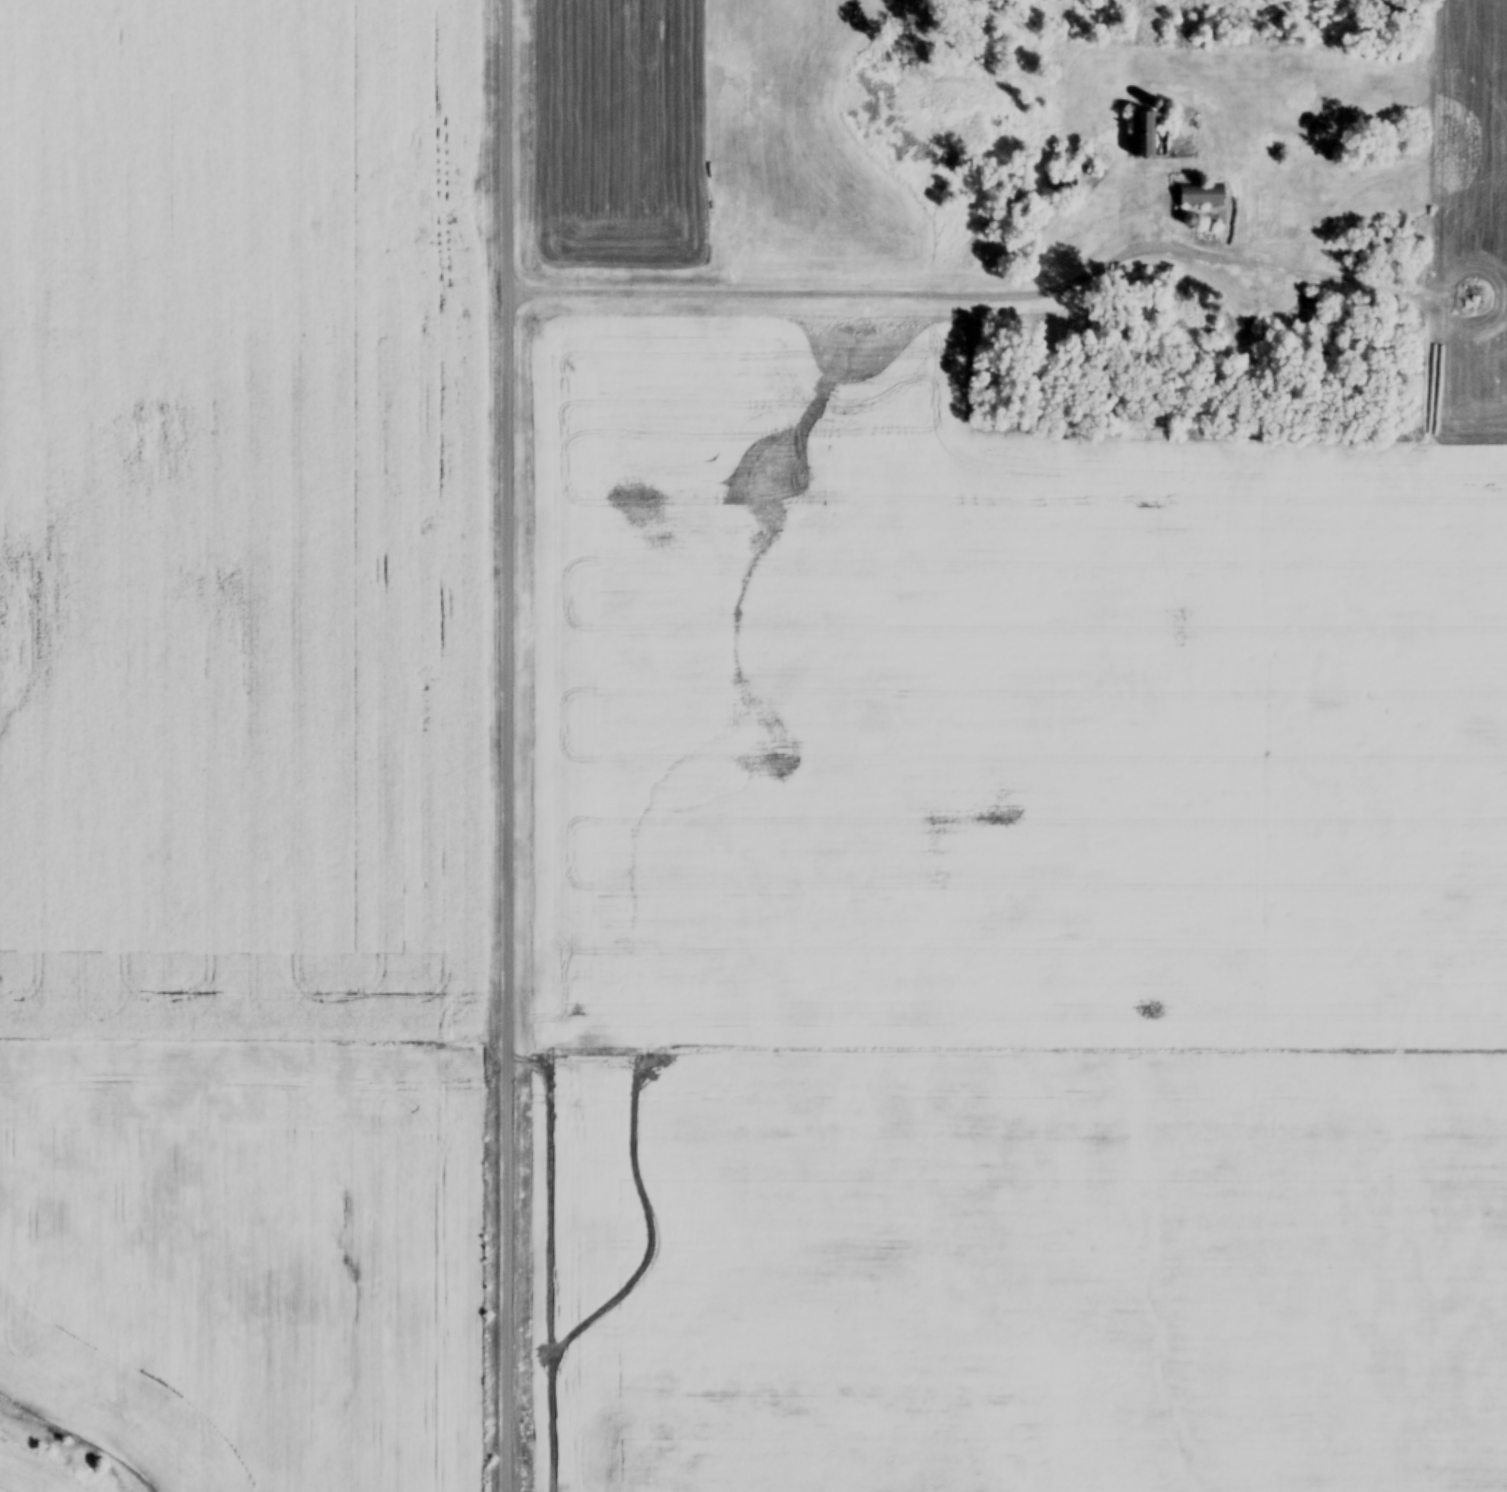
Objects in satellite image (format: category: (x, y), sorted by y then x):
building: (1147, 138)
building: (1200, 197)
road: (913, 286)
building: (1473, 293)
building: (1310, 313)
road: (512, 746)
building: (863, 1477)

